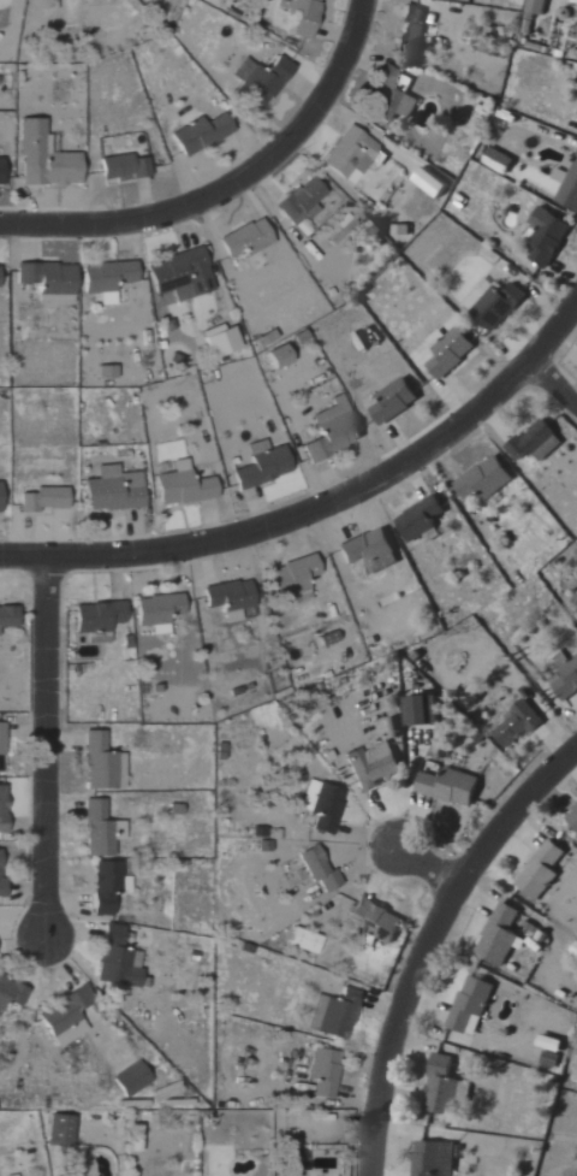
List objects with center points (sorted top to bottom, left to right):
building: (537, 8)
building: (305, 14)
building: (412, 30)
building: (262, 82)
building: (393, 96)
building: (529, 131)
building: (203, 135)
building: (351, 153)
building: (46, 160)
building: (498, 160)
building: (126, 169)
building: (2, 173)
building: (433, 182)
road: (230, 187)
building: (567, 187)
building: (303, 201)
building: (548, 237)
building: (248, 240)
building: (0, 277)
building: (182, 277)
building: (109, 279)
building: (50, 280)
building: (499, 306)
building: (222, 341)
building: (450, 350)
building: (281, 356)
building: (108, 372)
road: (554, 389)
building: (395, 401)
building: (334, 431)
building: (537, 442)
building: (264, 466)
building: (486, 479)
building: (184, 486)
building: (115, 491)
building: (1, 497)
building: (46, 501)
road: (322, 503)
building: (421, 519)
building: (371, 551)
building: (295, 578)
building: (232, 598)
building: (160, 611)
building: (100, 616)
building: (8, 617)
building: (566, 680)
building: (422, 711)
building: (518, 723)
road: (40, 746)
building: (2, 747)
building: (100, 763)
building: (374, 766)
building: (451, 787)
building: (323, 805)
building: (4, 809)
building: (572, 817)
building: (99, 829)
road: (427, 862)
building: (320, 868)
building: (542, 870)
building: (2, 881)
building: (108, 886)
building: (379, 920)
building: (500, 935)
road: (424, 936)
building: (305, 941)
building: (118, 961)
building: (12, 993)
building: (471, 1005)
building: (335, 1015)
building: (69, 1017)
building: (326, 1072)
building: (133, 1080)
building: (441, 1087)
building: (61, 1131)
building: (434, 1159)

